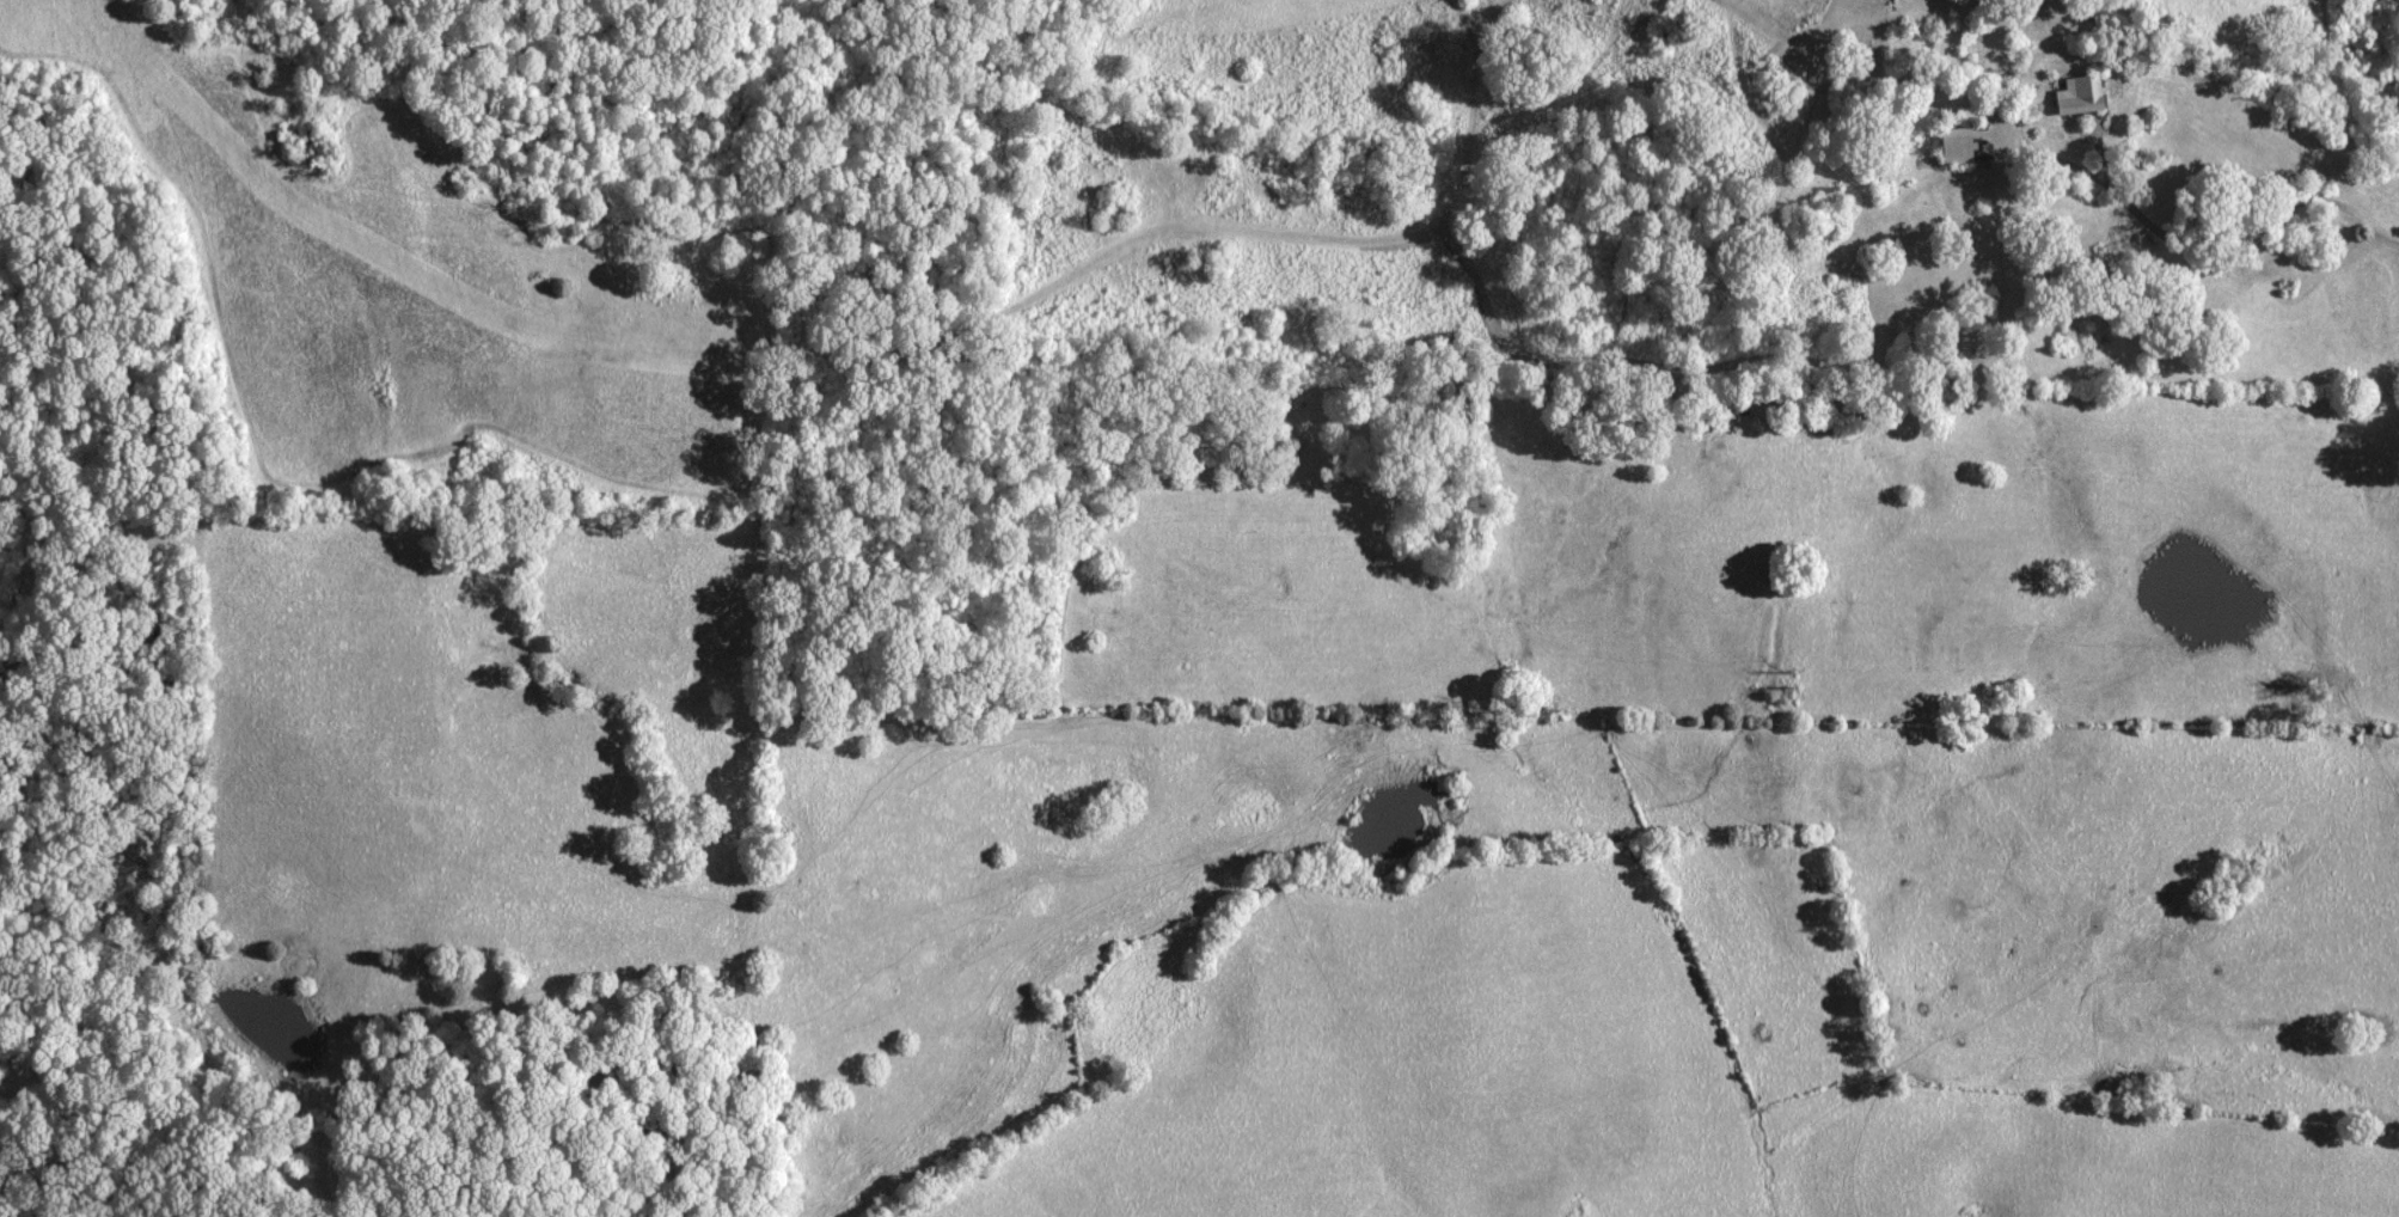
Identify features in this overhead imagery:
building: (2075, 96)
building: (1952, 146)
road: (2205, 243)

